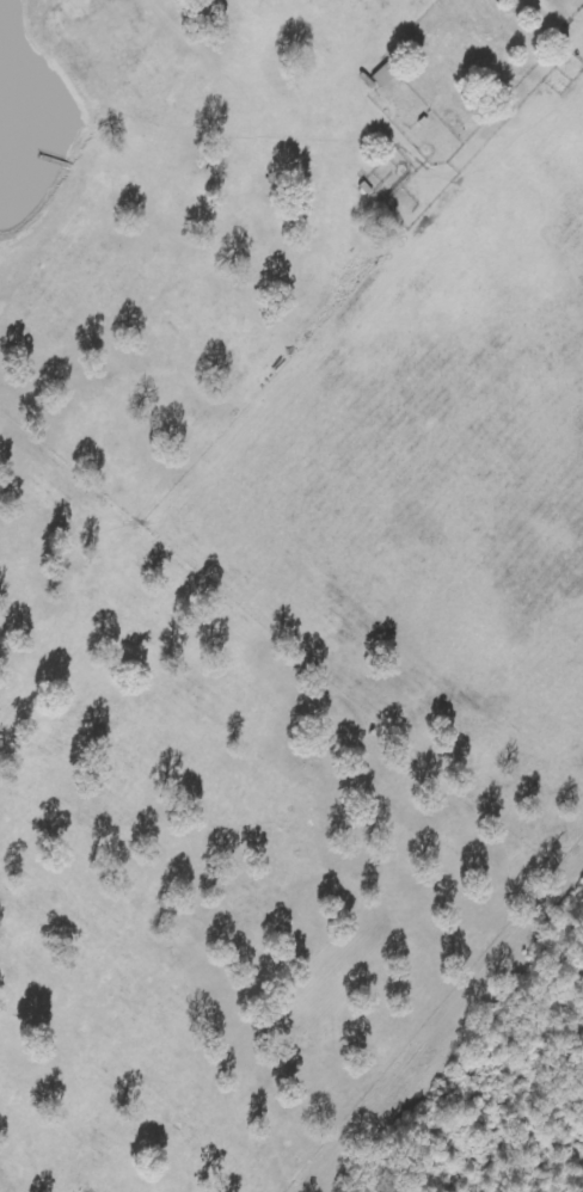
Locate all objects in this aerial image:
road: (558, 17)

